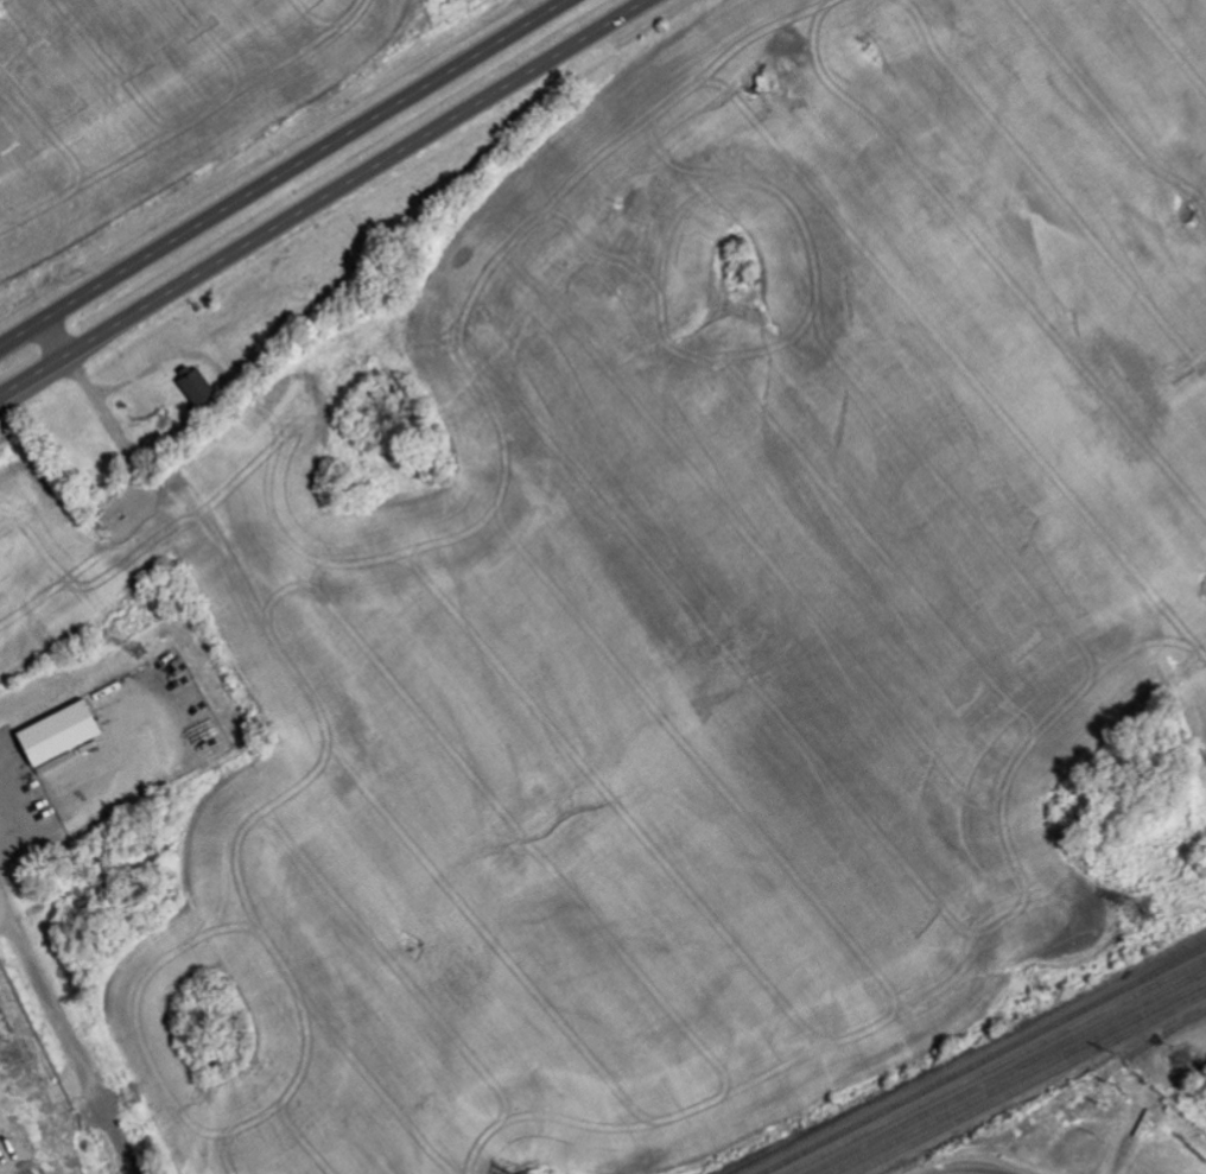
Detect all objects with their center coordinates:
crop: (160, 99)
road: (281, 172)
road: (328, 201)
park: (273, 317)
building: (201, 385)
crop: (691, 601)
power tower: (140, 653)
building: (65, 732)
road: (19, 824)
power tower: (1137, 910)
road: (4, 920)
road: (51, 1001)
railway: (1168, 1033)
railway: (983, 1060)
railway: (998, 1067)
railway: (1008, 1073)
railway: (1018, 1078)
railway: (1030, 1084)

